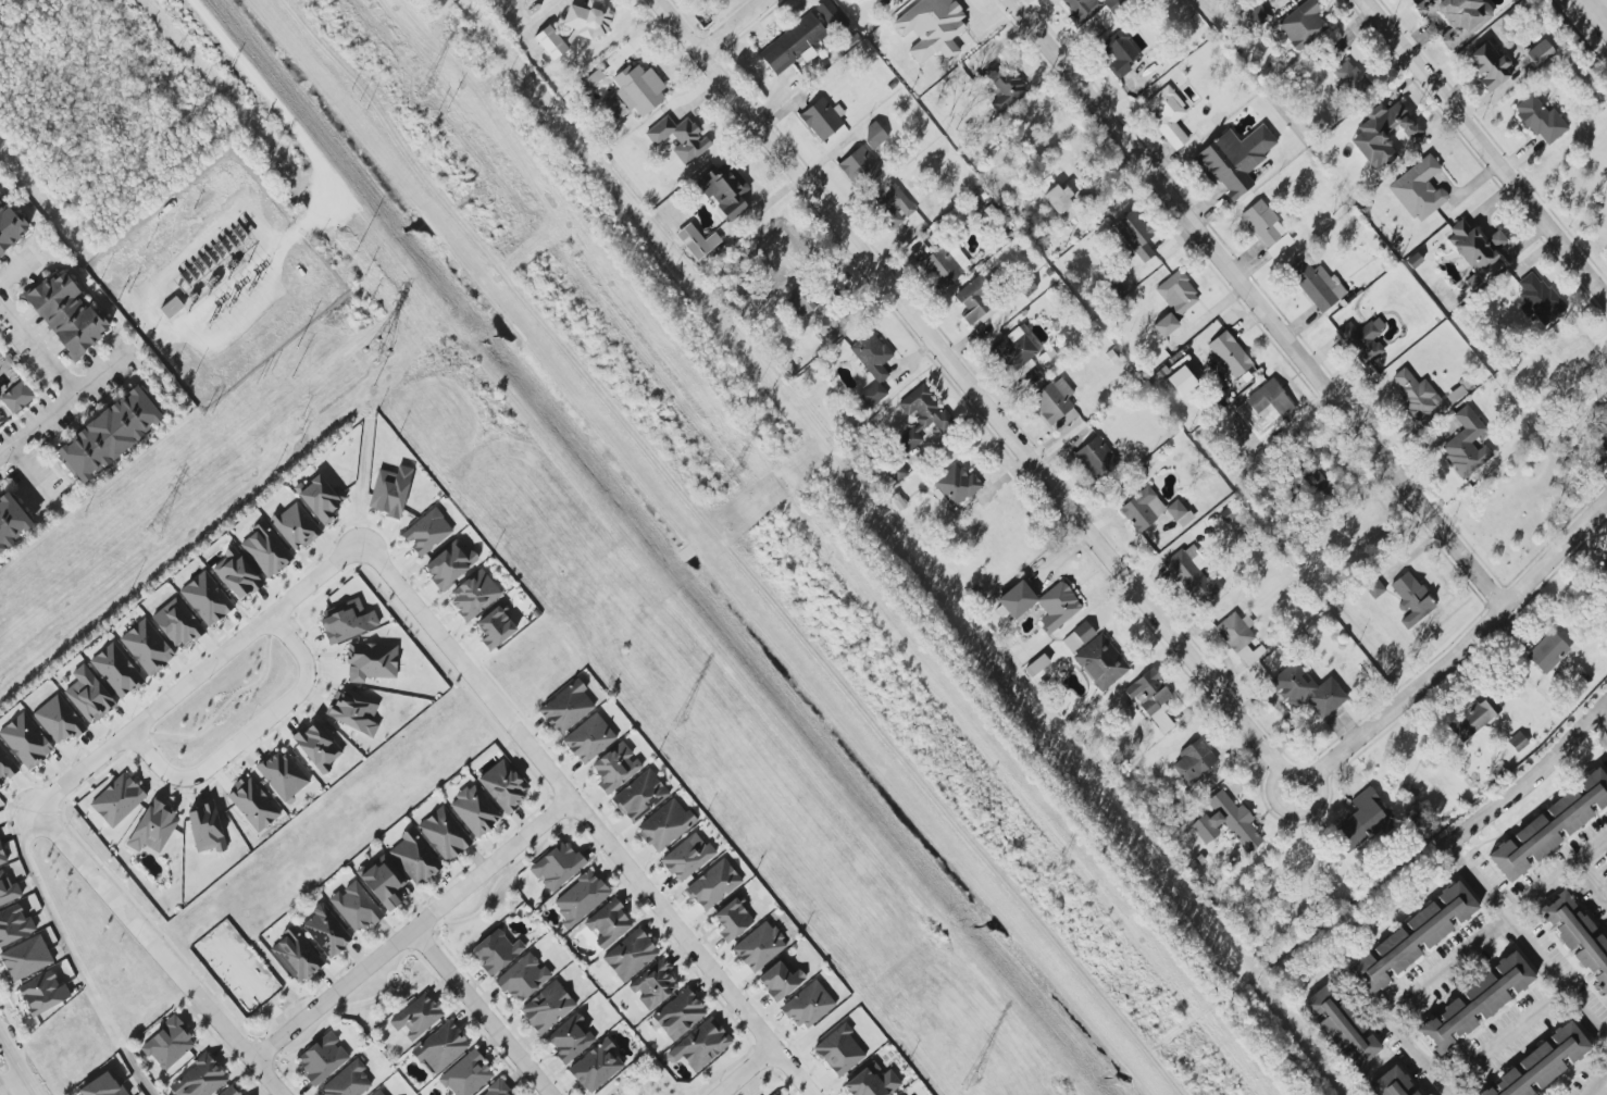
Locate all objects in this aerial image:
road: (1605, 1)
building: (1096, 12)
building: (1258, 15)
building: (1456, 17)
building: (588, 20)
road: (728, 25)
building: (1303, 25)
building: (932, 27)
building: (550, 42)
building: (794, 45)
building: (1120, 53)
building: (1540, 53)
building: (1490, 65)
building: (1350, 78)
building: (1004, 84)
building: (639, 89)
power tower: (424, 90)
building: (1168, 116)
building: (821, 120)
building: (1541, 120)
building: (1382, 133)
building: (874, 134)
building: (680, 138)
road: (1484, 150)
building: (1234, 159)
building: (859, 167)
building: (1419, 189)
building: (723, 190)
building: (1058, 199)
building: (894, 206)
building: (1267, 228)
building: (1136, 233)
building: (697, 241)
building: (1475, 246)
building: (944, 265)
road: (10, 272)
power substation: (216, 279)
building: (1317, 285)
power tower: (250, 288)
building: (1540, 298)
building: (975, 299)
building: (1174, 301)
power tower: (229, 302)
road: (1256, 302)
road: (0, 303)
building: (171, 307)
building: (66, 313)
power tower: (211, 320)
building: (1362, 340)
road: (38, 347)
power tower: (381, 349)
building: (1014, 349)
building: (1230, 354)
building: (872, 365)
building: (1182, 381)
road: (972, 389)
building: (1416, 394)
building: (17, 397)
building: (1270, 400)
building: (1604, 402)
building: (1056, 403)
road: (61, 407)
building: (921, 416)
building: (110, 434)
building: (1603, 440)
building: (1467, 444)
building: (1096, 458)
building: (896, 471)
power tower: (734, 477)
road: (38, 478)
building: (956, 485)
building: (1318, 485)
building: (390, 491)
building: (321, 498)
building: (1143, 509)
building: (1179, 512)
building: (11, 522)
building: (296, 526)
power tower: (155, 530)
building: (427, 532)
road: (640, 549)
building: (265, 550)
building: (450, 564)
building: (1606, 564)
building: (237, 574)
building: (1194, 574)
building: (1374, 588)
building: (474, 594)
building: (207, 598)
building: (1411, 599)
building: (1042, 604)
building: (348, 621)
building: (177, 623)
building: (496, 626)
building: (1079, 636)
building: (1239, 637)
building: (147, 647)
road: (1459, 648)
building: (1548, 652)
building: (371, 661)
building: (1100, 662)
building: (116, 671)
road: (198, 676)
building: (1307, 690)
building: (88, 695)
building: (1151, 699)
building: (566, 707)
building: (354, 711)
building: (1473, 718)
building: (59, 720)
power tower: (683, 724)
road: (1600, 726)
road: (249, 733)
building: (589, 738)
building: (26, 741)
building: (1518, 742)
building: (317, 746)
building: (1194, 760)
building: (5, 767)
building: (615, 767)
building: (284, 774)
building: (503, 785)
building: (640, 796)
building: (117, 799)
road: (1494, 802)
building: (253, 804)
building: (475, 810)
road: (1291, 810)
road: (587, 818)
building: (1226, 821)
building: (1361, 821)
building: (665, 825)
building: (1552, 825)
building: (153, 828)
building: (207, 829)
building: (445, 834)
building: (1606, 854)
building: (2, 856)
building: (414, 857)
building: (687, 857)
building: (557, 866)
power tower: (1060, 873)
road: (1593, 878)
road: (1555, 879)
building: (383, 882)
building: (713, 885)
building: (8, 889)
building: (581, 898)
building: (356, 907)
building: (733, 919)
building: (609, 923)
building: (14, 924)
road: (439, 924)
road: (412, 930)
building: (326, 931)
road: (424, 931)
building: (1578, 936)
building: (1411, 938)
road: (411, 942)
building: (759, 946)
road: (157, 951)
building: (496, 951)
road: (412, 954)
building: (296, 955)
building: (631, 955)
road: (73, 956)
building: (26, 958)
building: (523, 978)
building: (781, 979)
road: (1553, 982)
building: (653, 984)
road: (393, 985)
building: (42, 993)
road: (1405, 998)
building: (1477, 1001)
building: (809, 1005)
building: (547, 1007)
road: (481, 1012)
building: (678, 1013)
building: (418, 1017)
building: (1341, 1028)
road: (314, 1031)
road: (1504, 1035)
building: (571, 1038)
building: (169, 1044)
building: (700, 1045)
building: (440, 1047)
building: (839, 1050)
building: (322, 1058)
building: (1543, 1062)
road: (15, 1065)
building: (596, 1066)
road: (548, 1071)
road: (745, 1071)
building: (466, 1074)
power tower: (972, 1078)
building: (199, 1079)
road: (520, 1080)
road: (626, 1080)
building: (347, 1081)
building: (871, 1081)
road: (1597, 1081)
building: (1390, 1083)
building: (103, 1085)
road: (13, 1088)
building: (1415, 1093)
road: (0, 1094)

